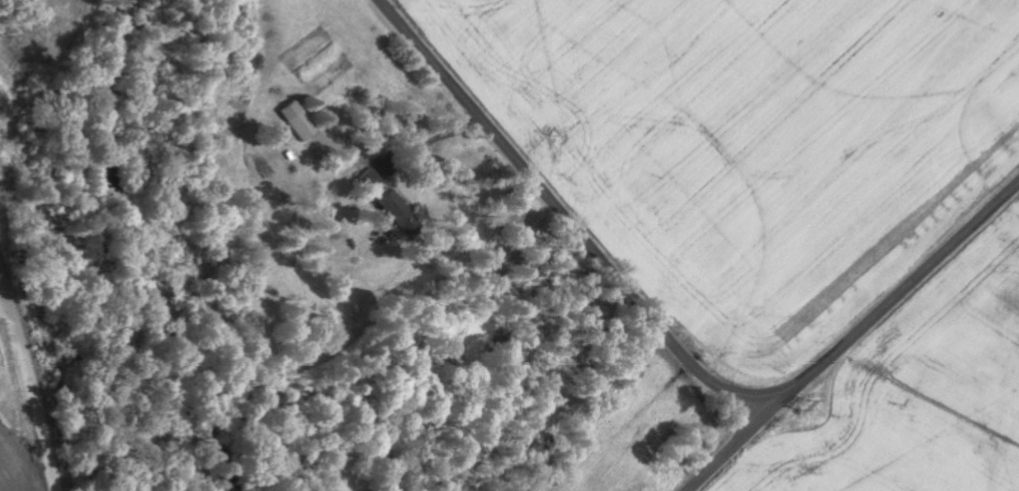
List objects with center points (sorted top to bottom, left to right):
building: (303, 121)
building: (400, 209)
road: (670, 340)
road: (733, 446)

